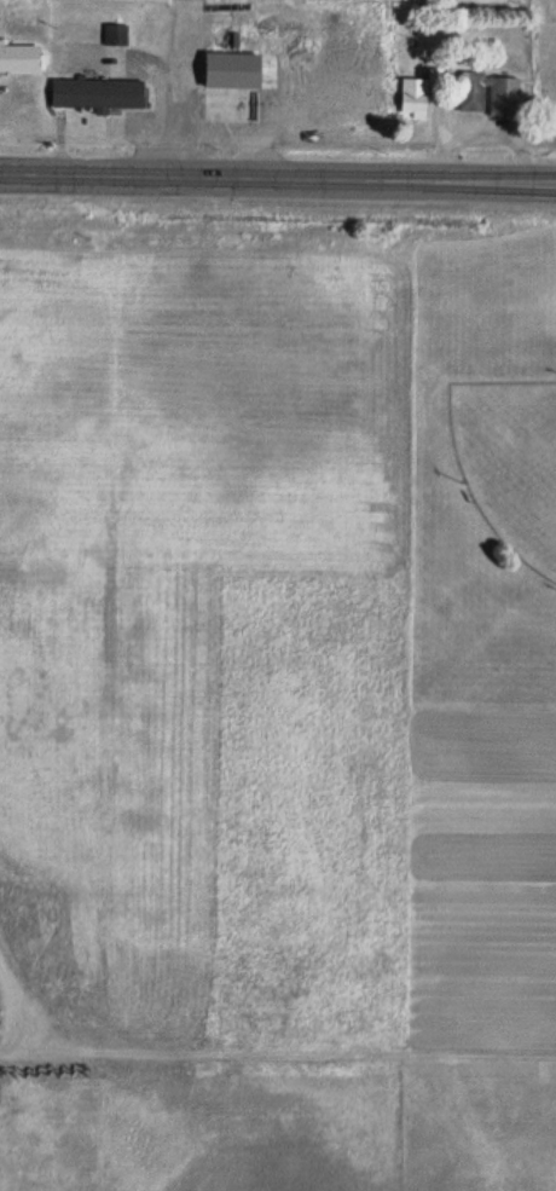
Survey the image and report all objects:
building: (231, 58)
building: (21, 59)
building: (99, 94)
building: (491, 96)
building: (415, 97)
road: (278, 173)
park: (510, 458)

